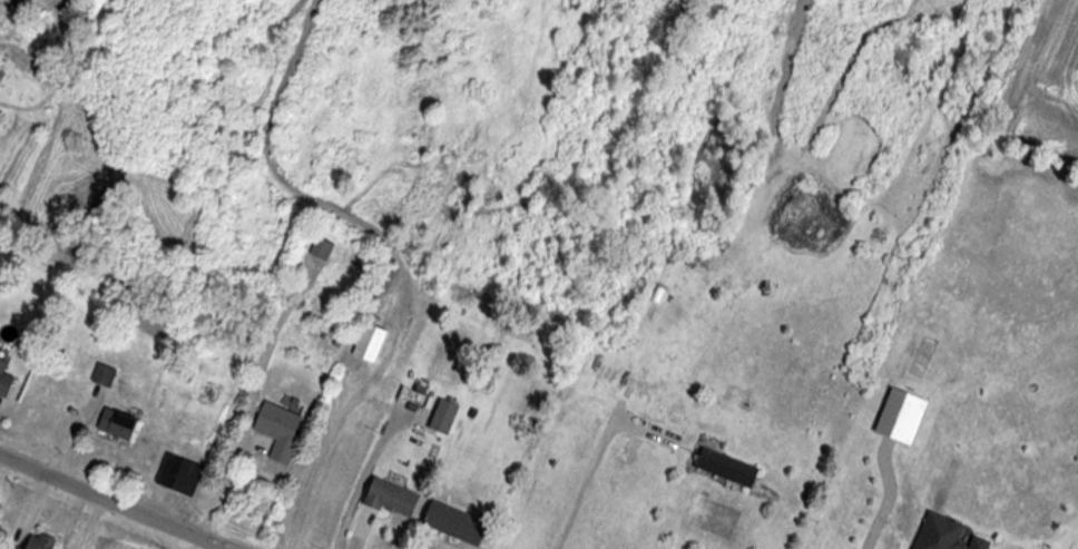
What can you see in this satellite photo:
crop: (1050, 81)
building: (318, 249)
building: (367, 344)
building: (101, 376)
building: (3, 382)
building: (441, 418)
building: (114, 425)
building: (276, 432)
building: (725, 468)
building: (177, 474)
road: (220, 484)
road: (588, 487)
building: (389, 498)
road: (111, 501)
building: (452, 523)
building: (943, 535)
building: (29, 542)

